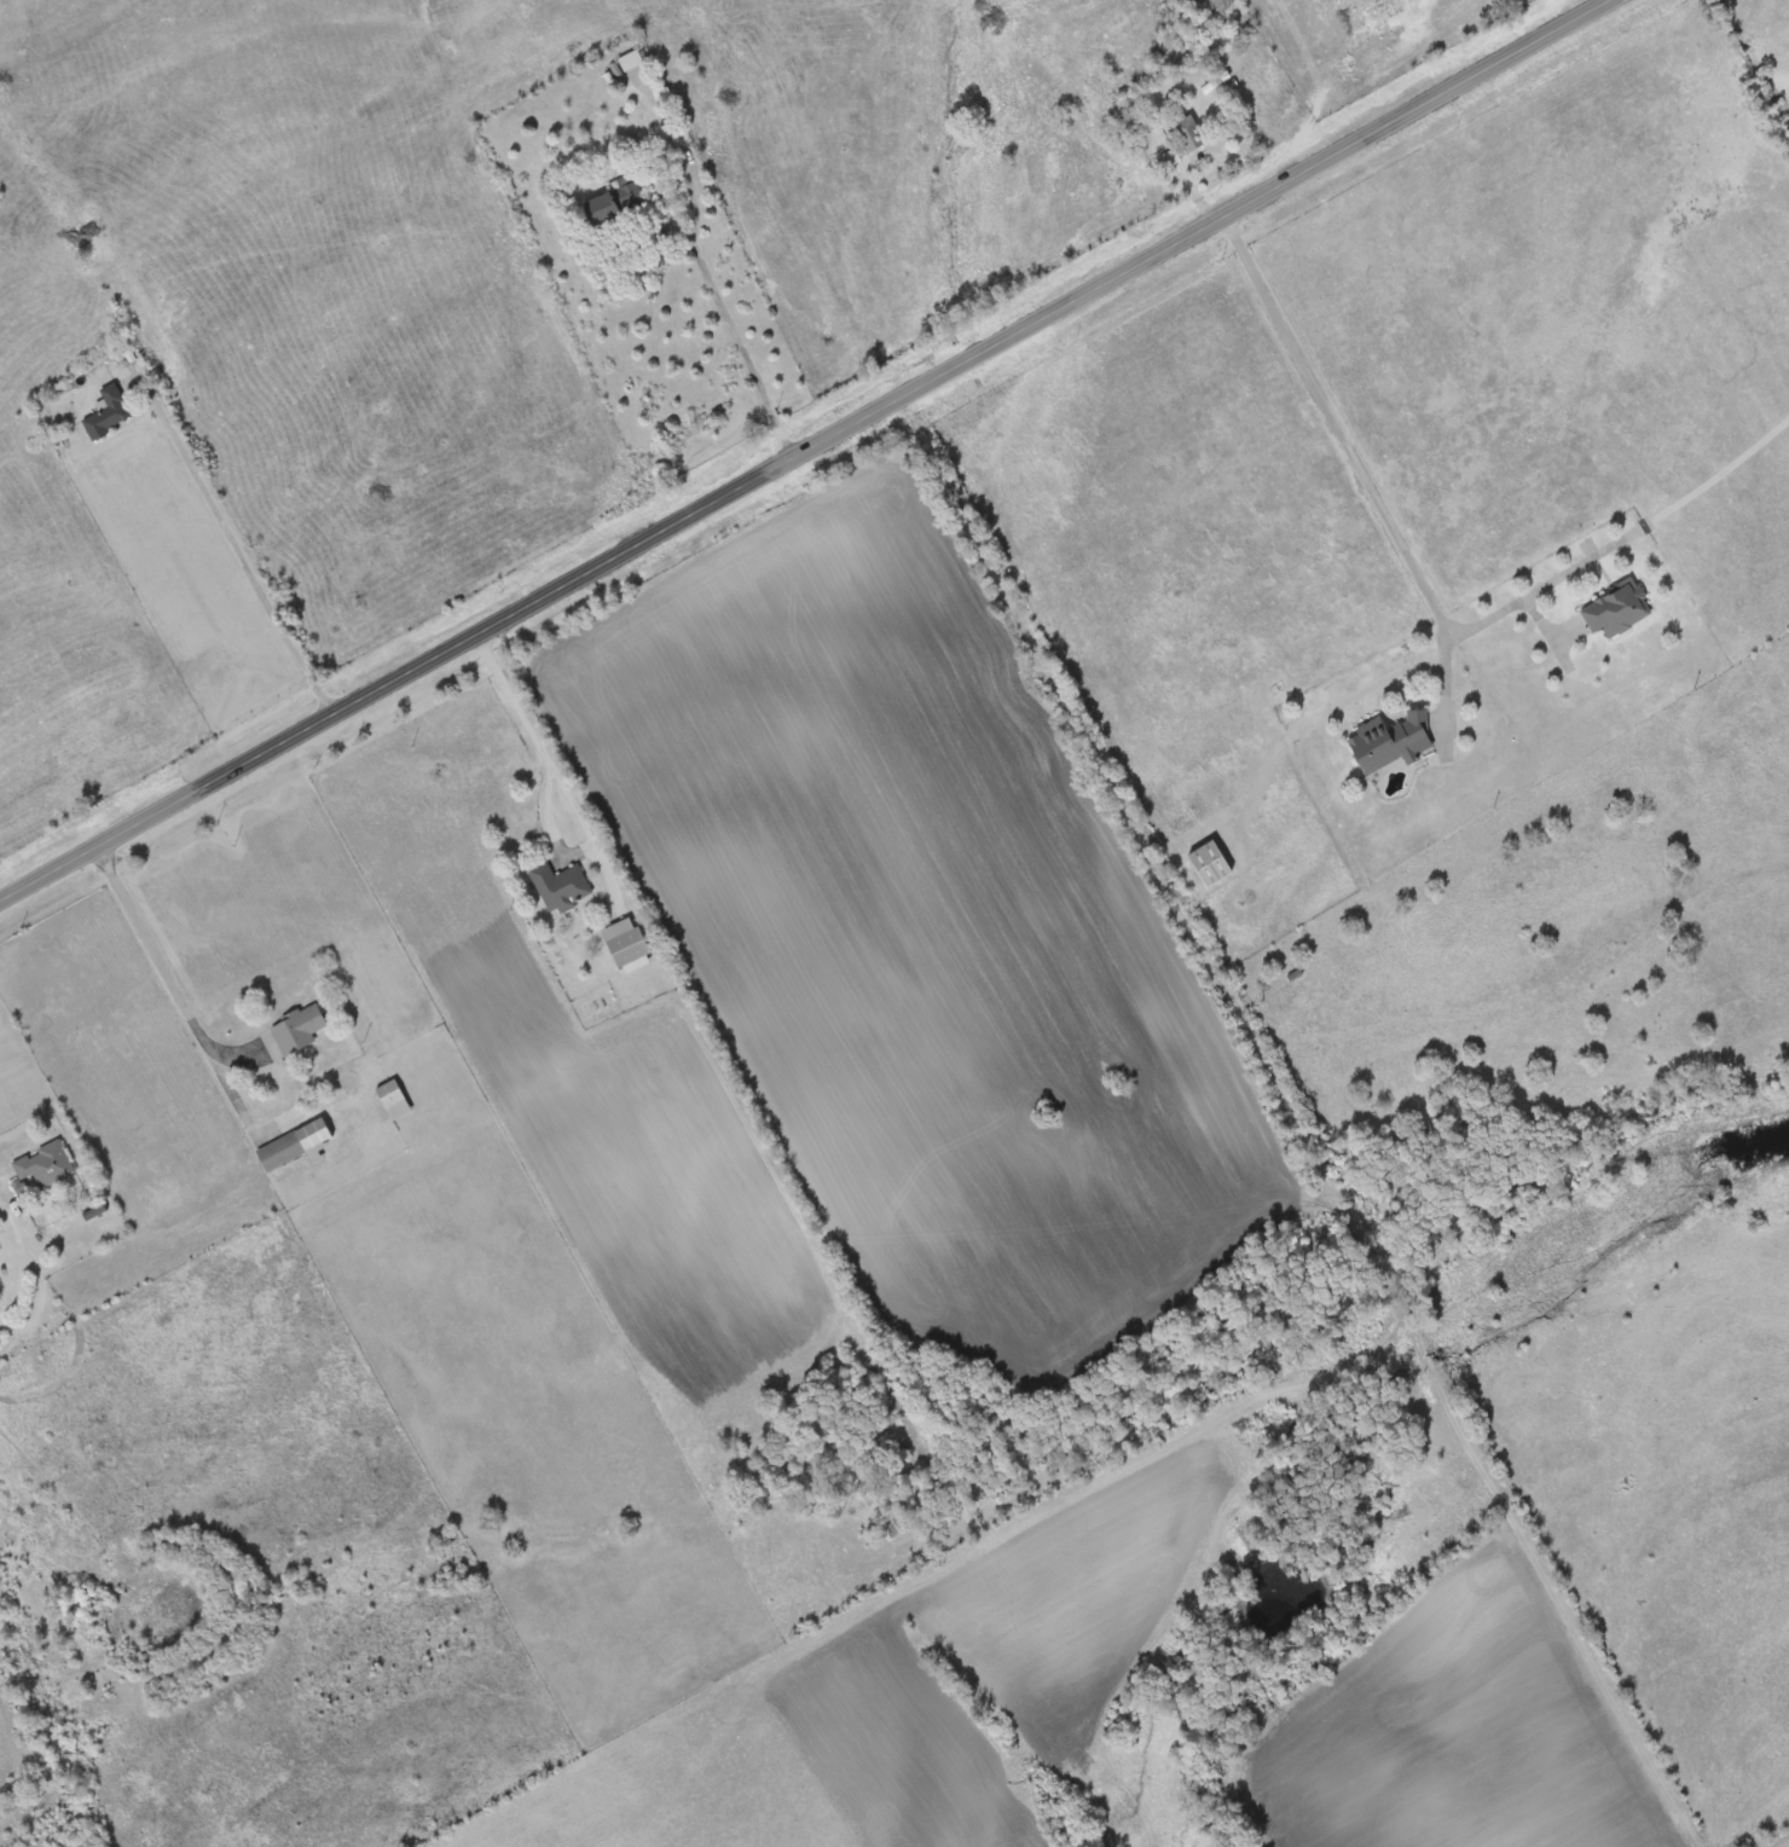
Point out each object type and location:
building: (632, 60)
building: (1187, 132)
building: (615, 203)
building: (109, 411)
road: (801, 450)
building: (1619, 609)
building: (1393, 741)
road: (569, 800)
building: (1212, 863)
building: (561, 886)
building: (630, 948)
road: (157, 963)
building: (300, 1030)
building: (296, 1146)
building: (46, 1165)

